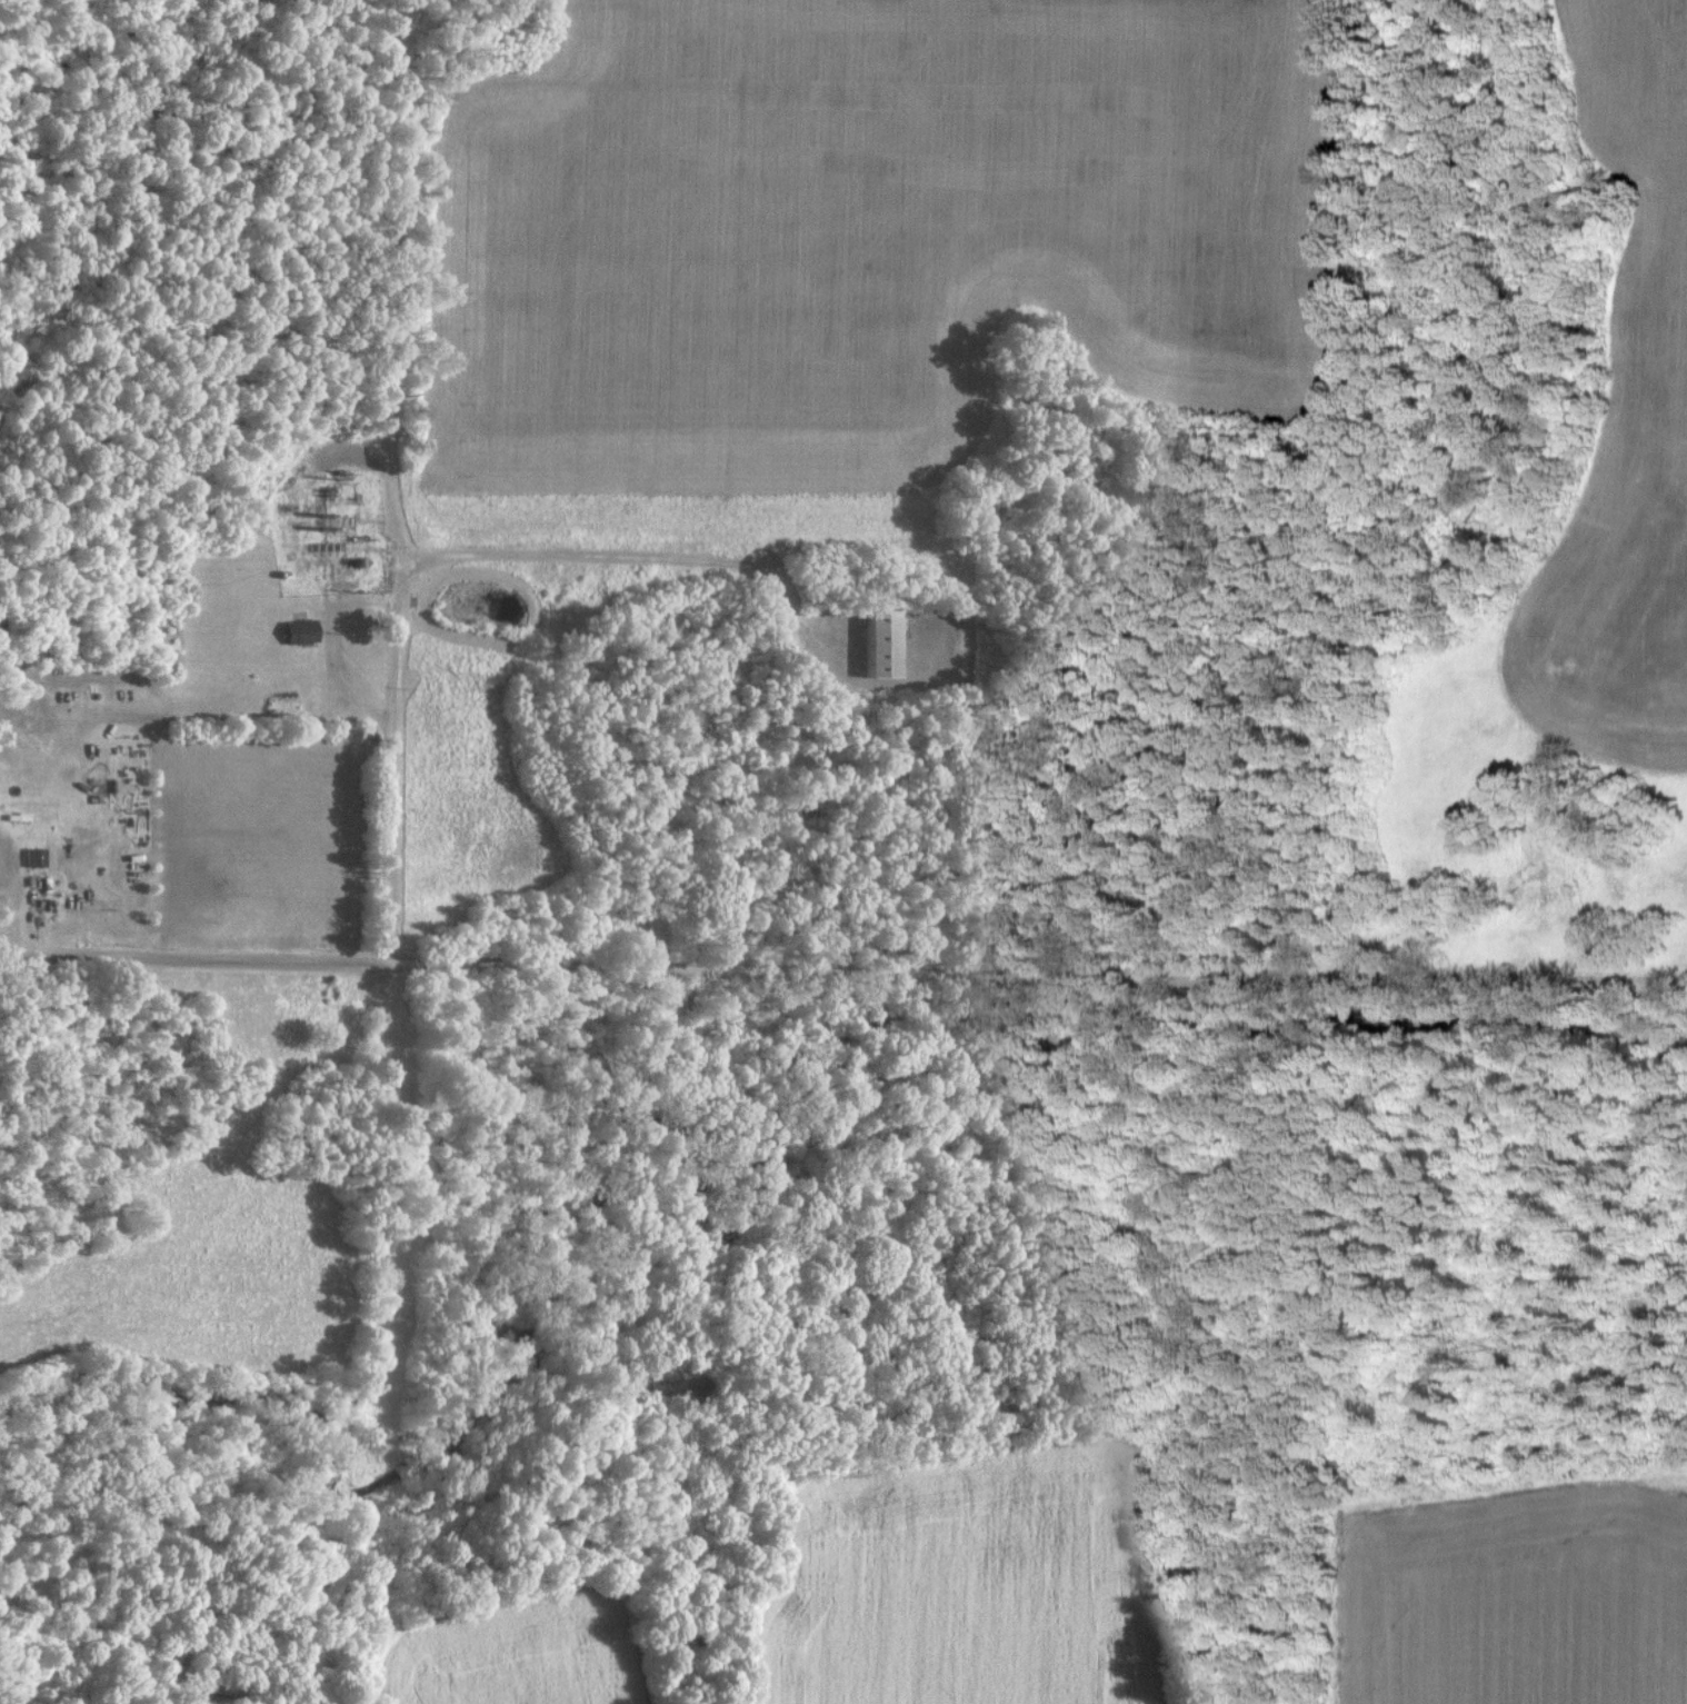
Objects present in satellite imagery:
road: (458, 555)
building: (307, 629)
road: (337, 640)
building: (887, 644)
road: (842, 969)

